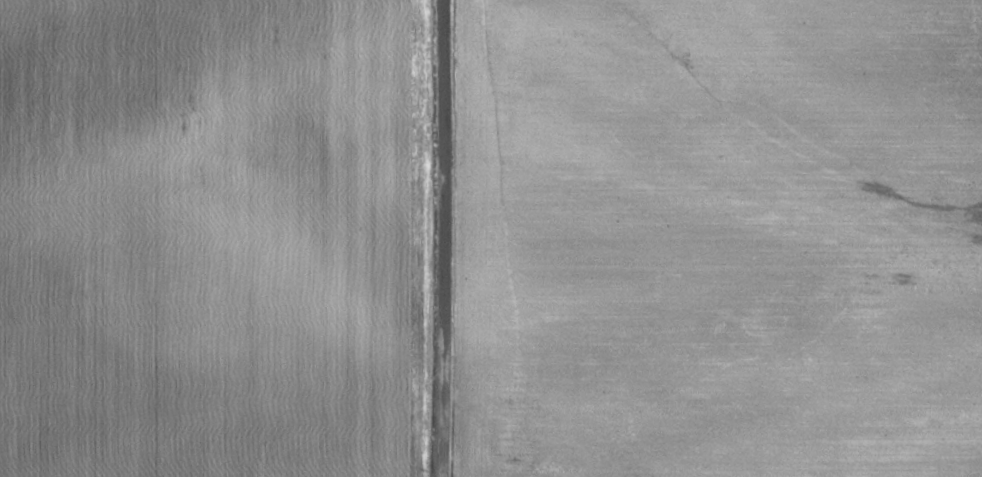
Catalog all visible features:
road: (437, 238)

